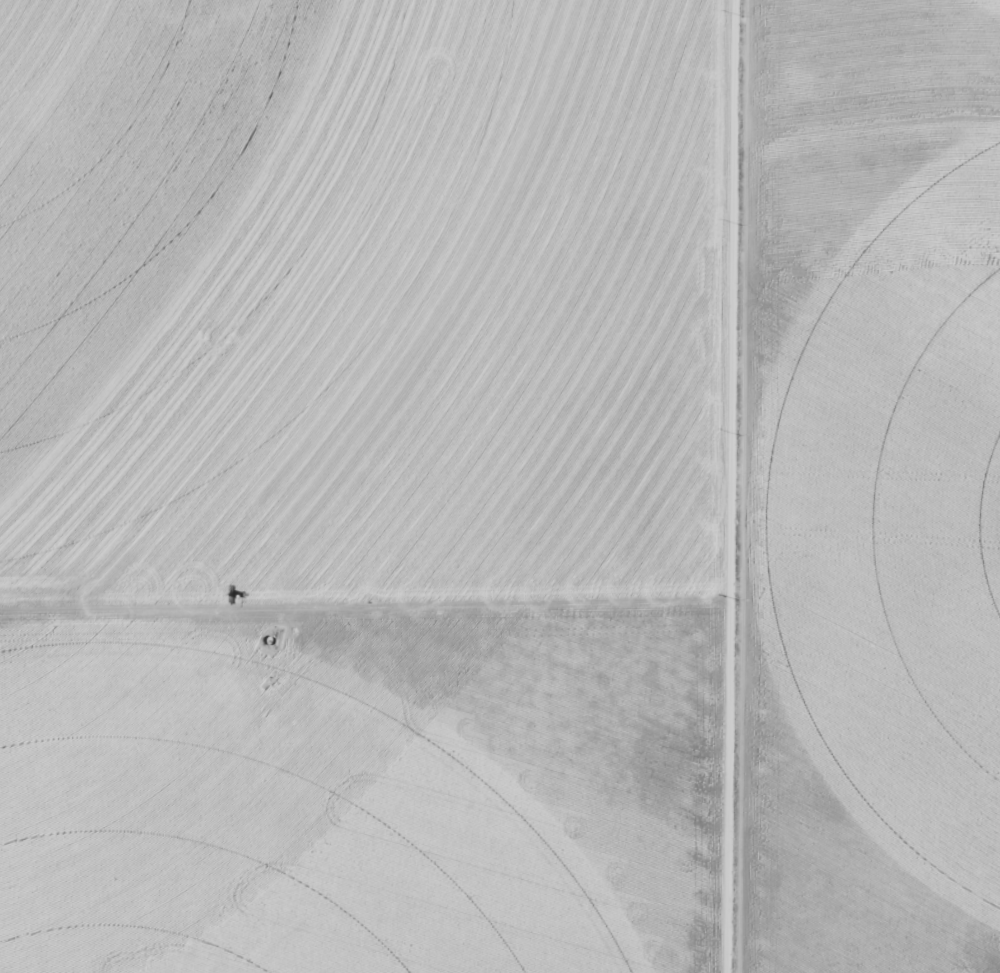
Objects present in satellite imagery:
road: (726, 486)

